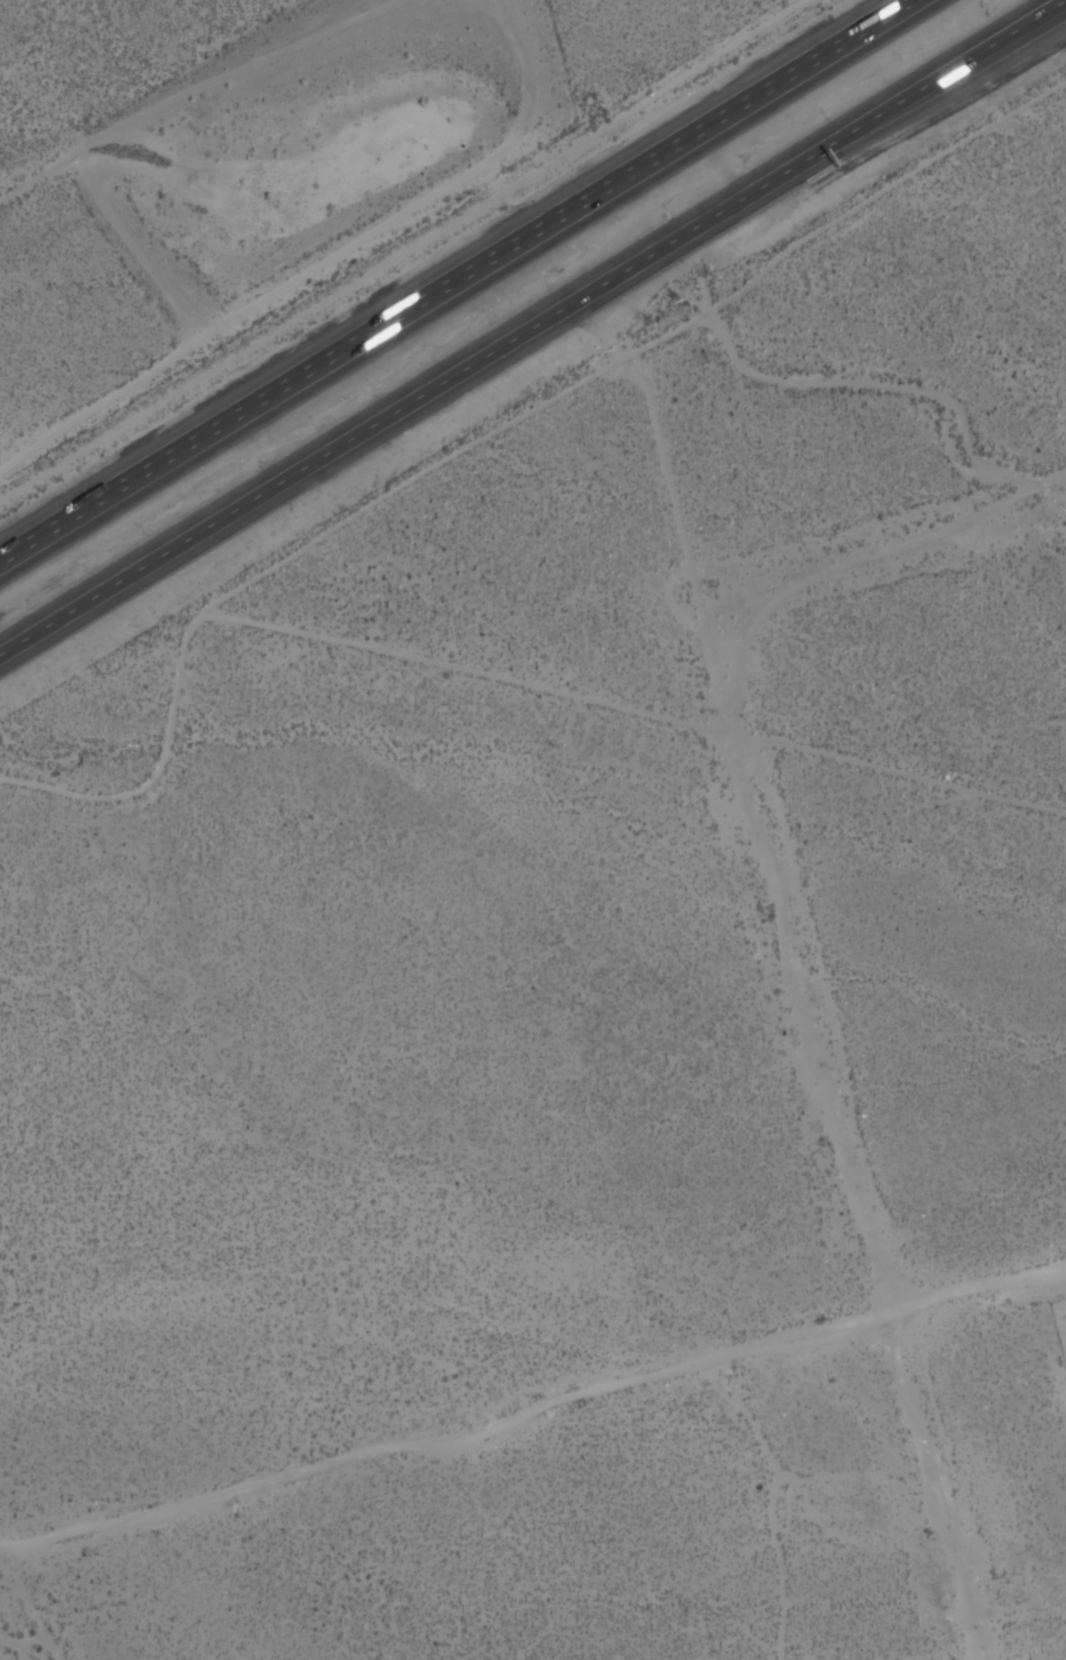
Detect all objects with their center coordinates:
road: (1020, 28)
road: (728, 112)
road: (777, 176)
road: (274, 391)
road: (290, 474)
road: (532, 1416)

